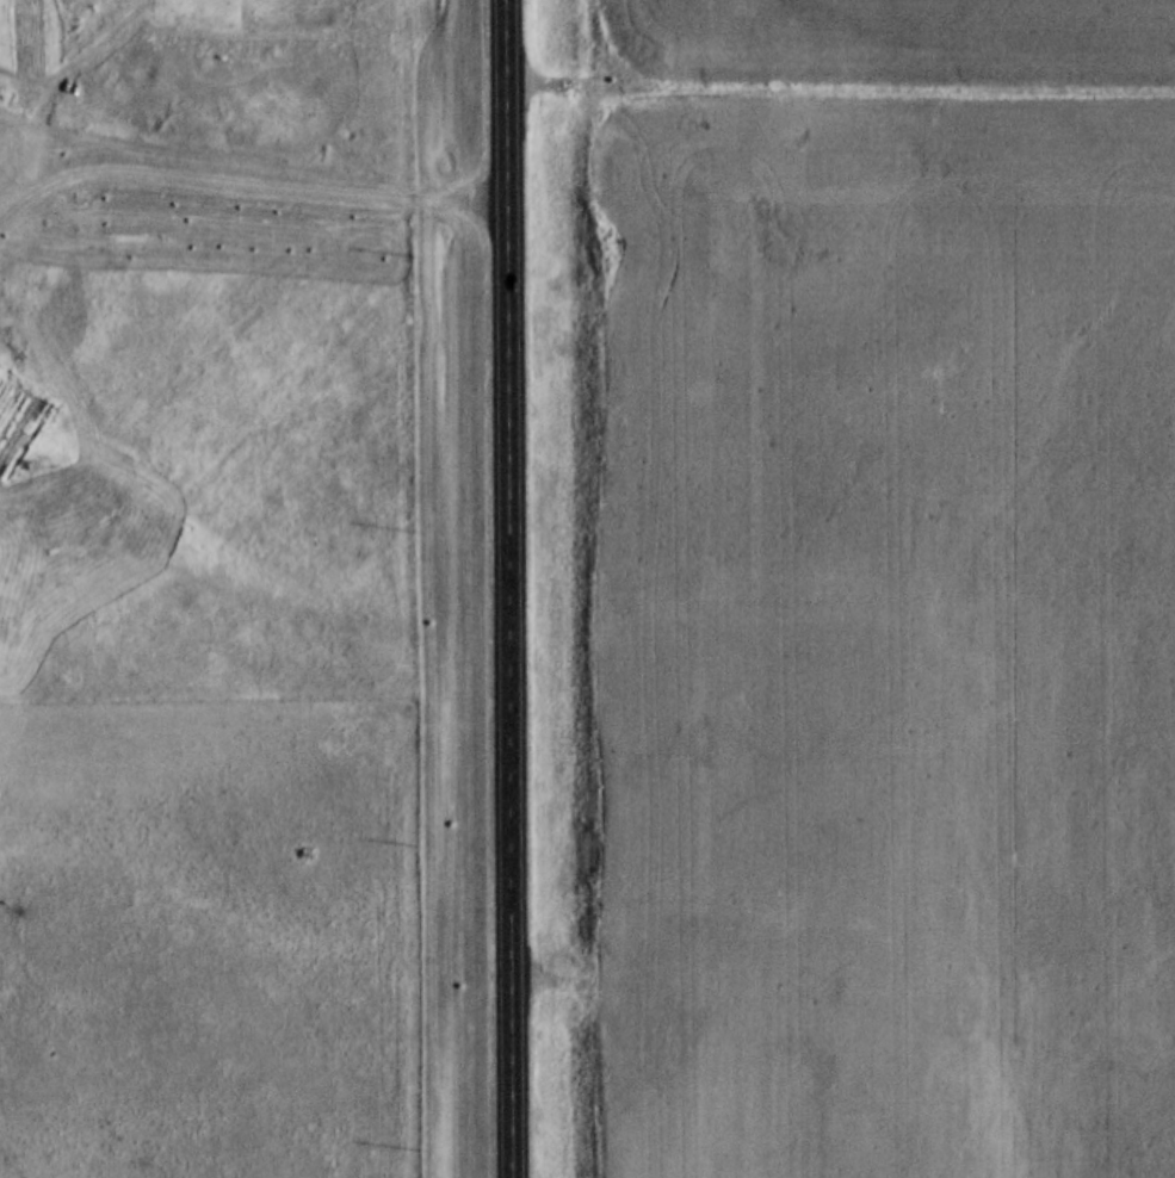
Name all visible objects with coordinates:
road: (247, 191)
road: (512, 588)
road: (845, 1002)

